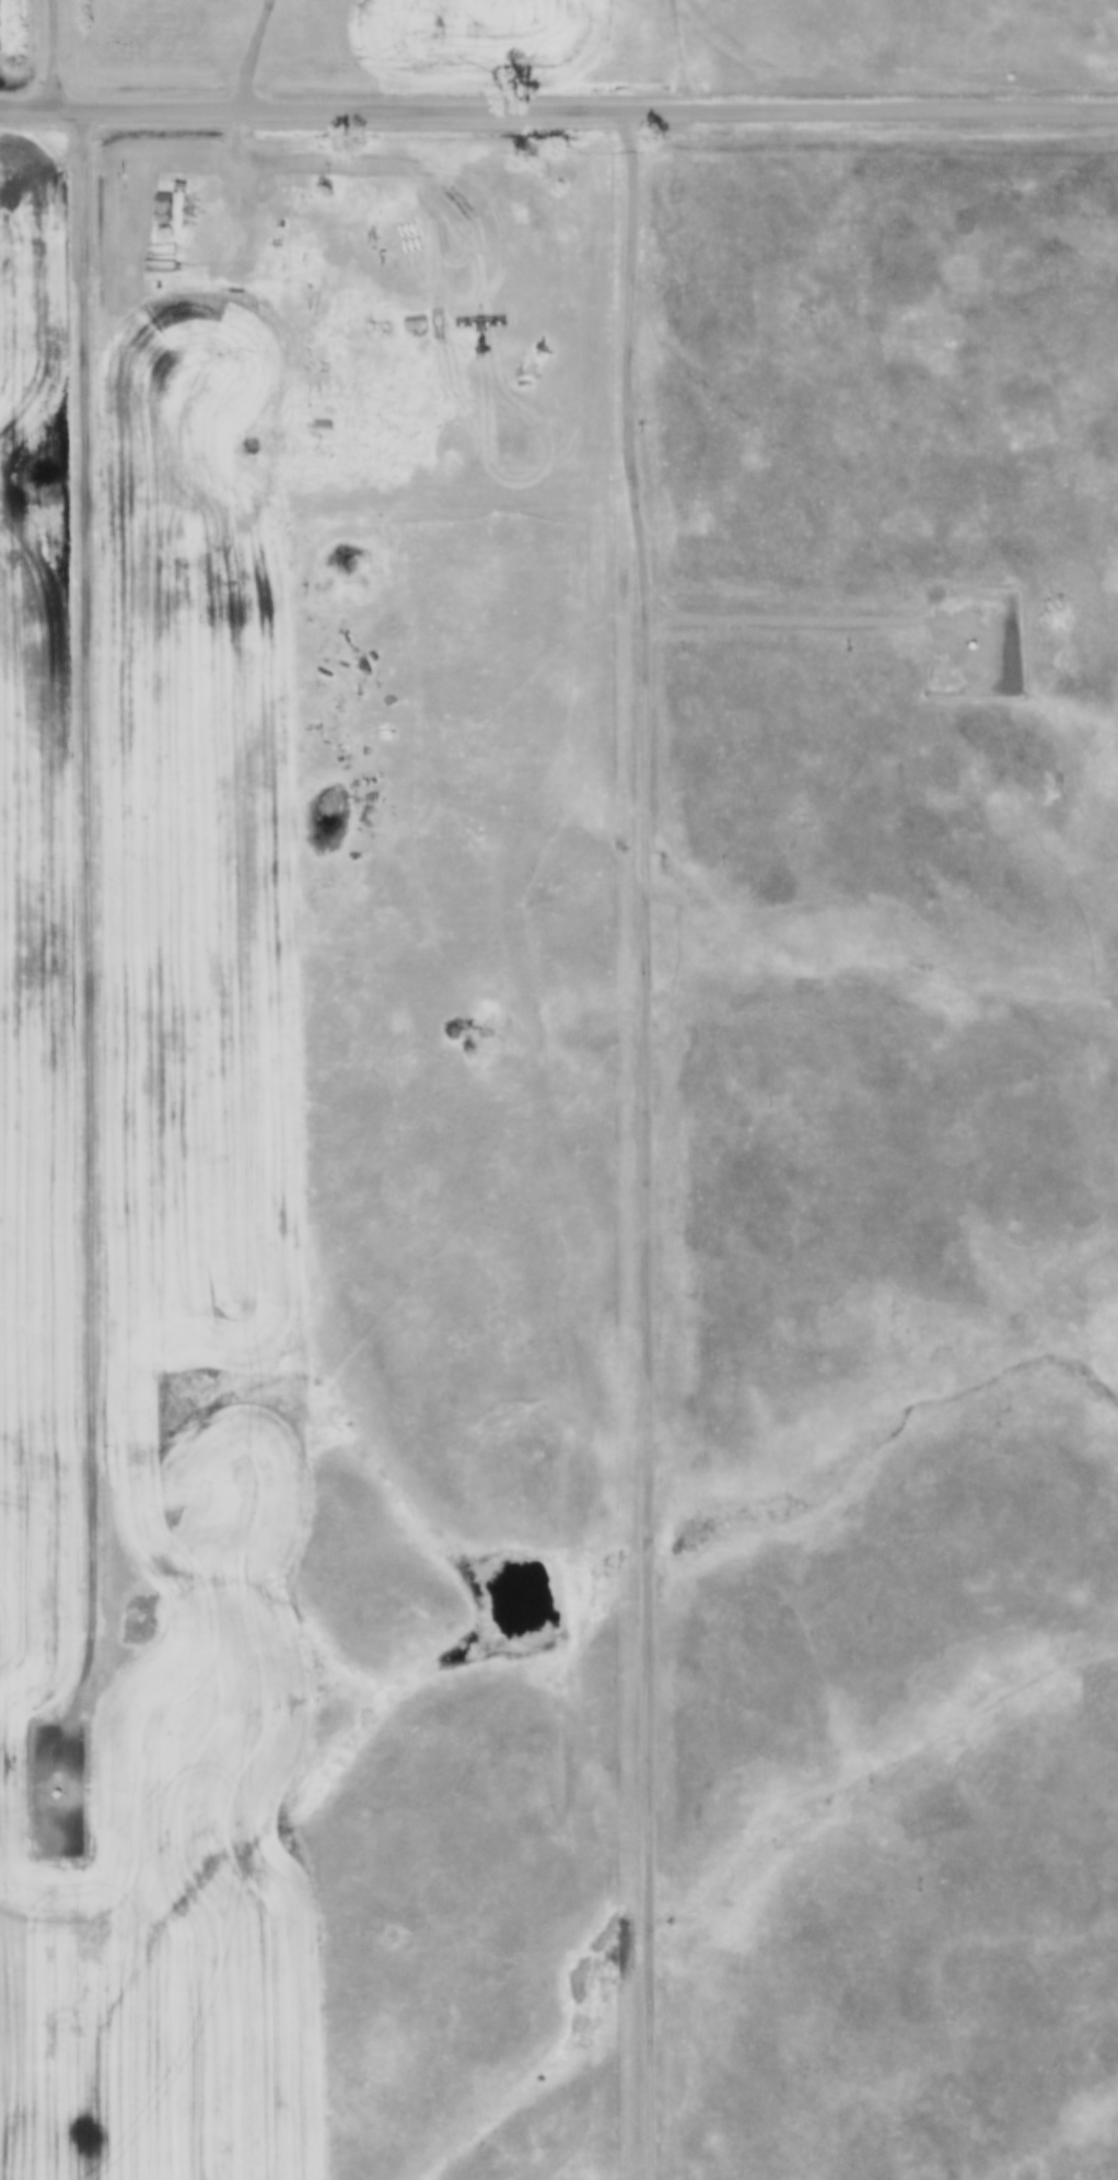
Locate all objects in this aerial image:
road: (54, 49)
road: (251, 49)
road: (558, 102)
building: (162, 203)
road: (805, 610)
road: (91, 929)
road: (648, 1140)

